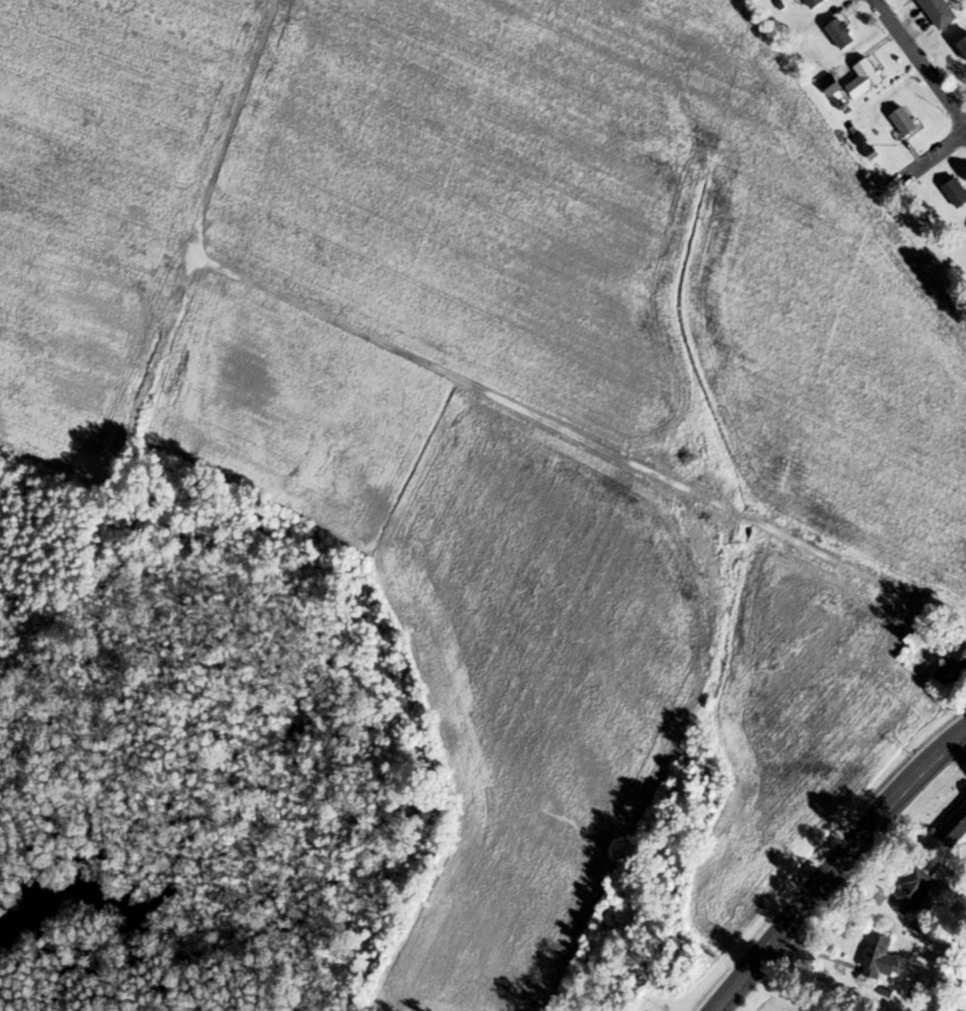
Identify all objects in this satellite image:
building: (815, 4)
building: (939, 13)
building: (840, 36)
building: (963, 48)
road: (920, 62)
building: (865, 80)
building: (831, 87)
building: (904, 123)
road: (935, 153)
building: (956, 194)
building: (953, 666)
road: (959, 741)
road: (959, 748)
building: (954, 828)
road: (831, 875)
building: (880, 955)

